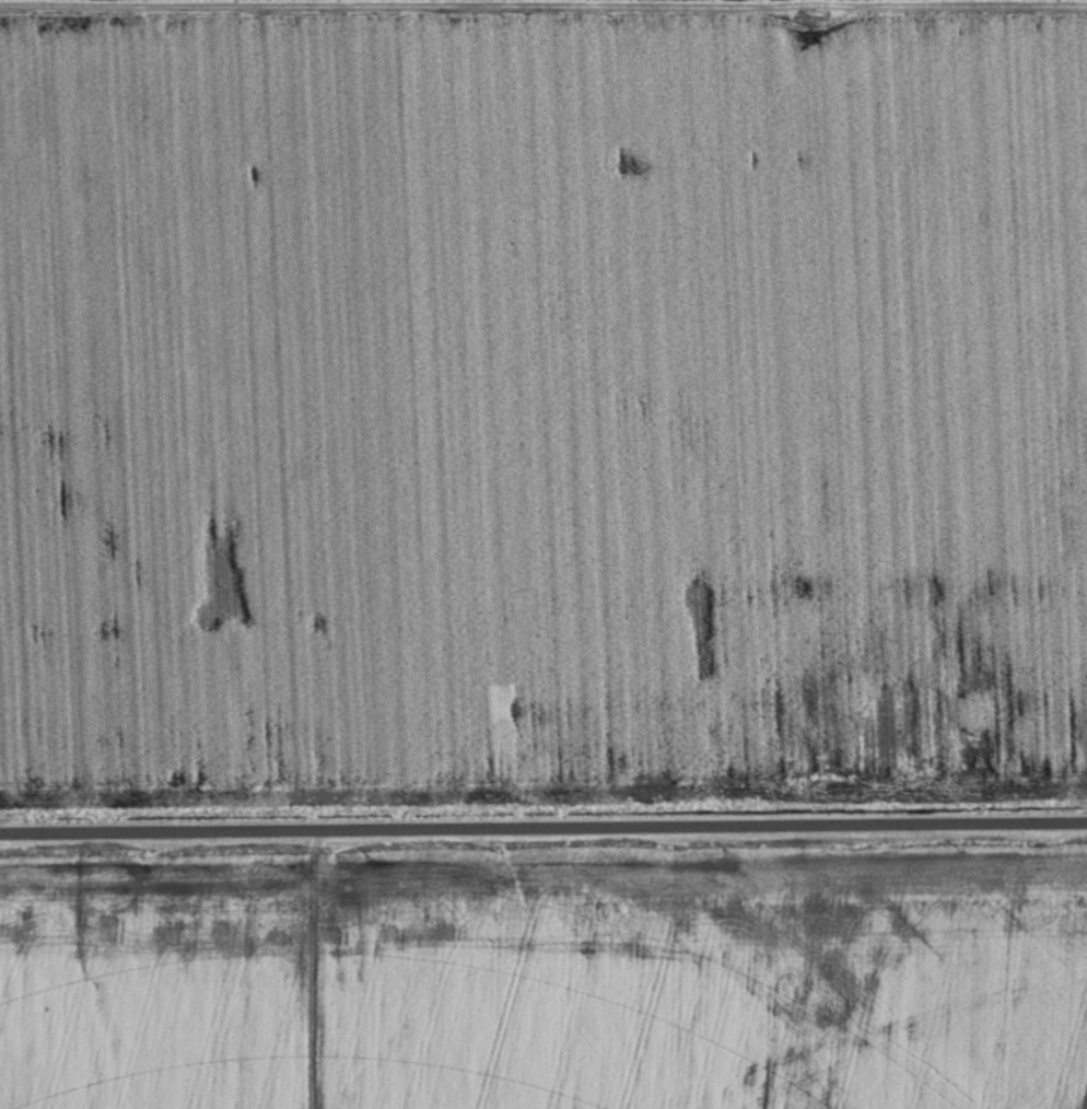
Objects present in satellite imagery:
road: (543, 827)

